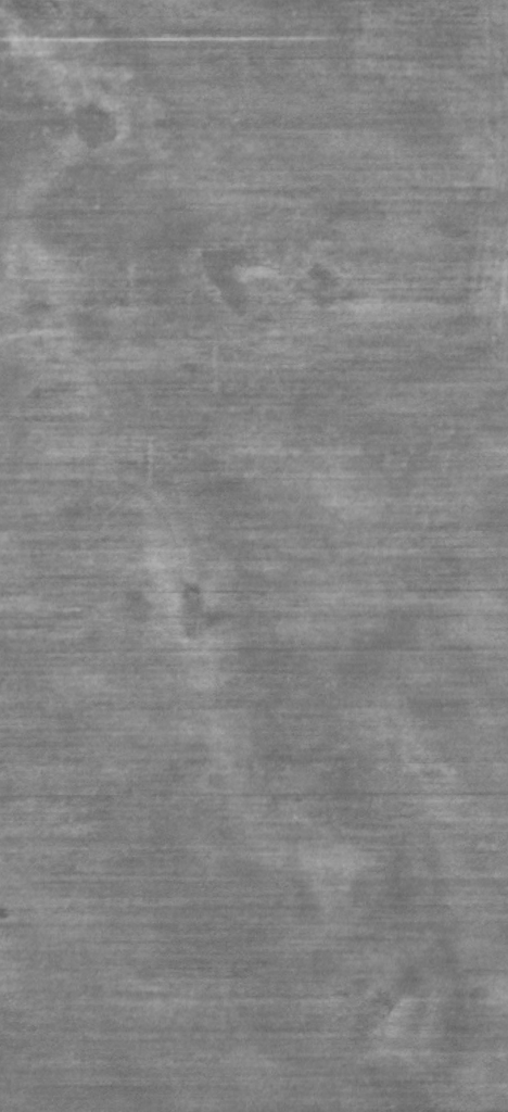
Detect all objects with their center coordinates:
crop: (252, 156)
crop: (254, 712)

